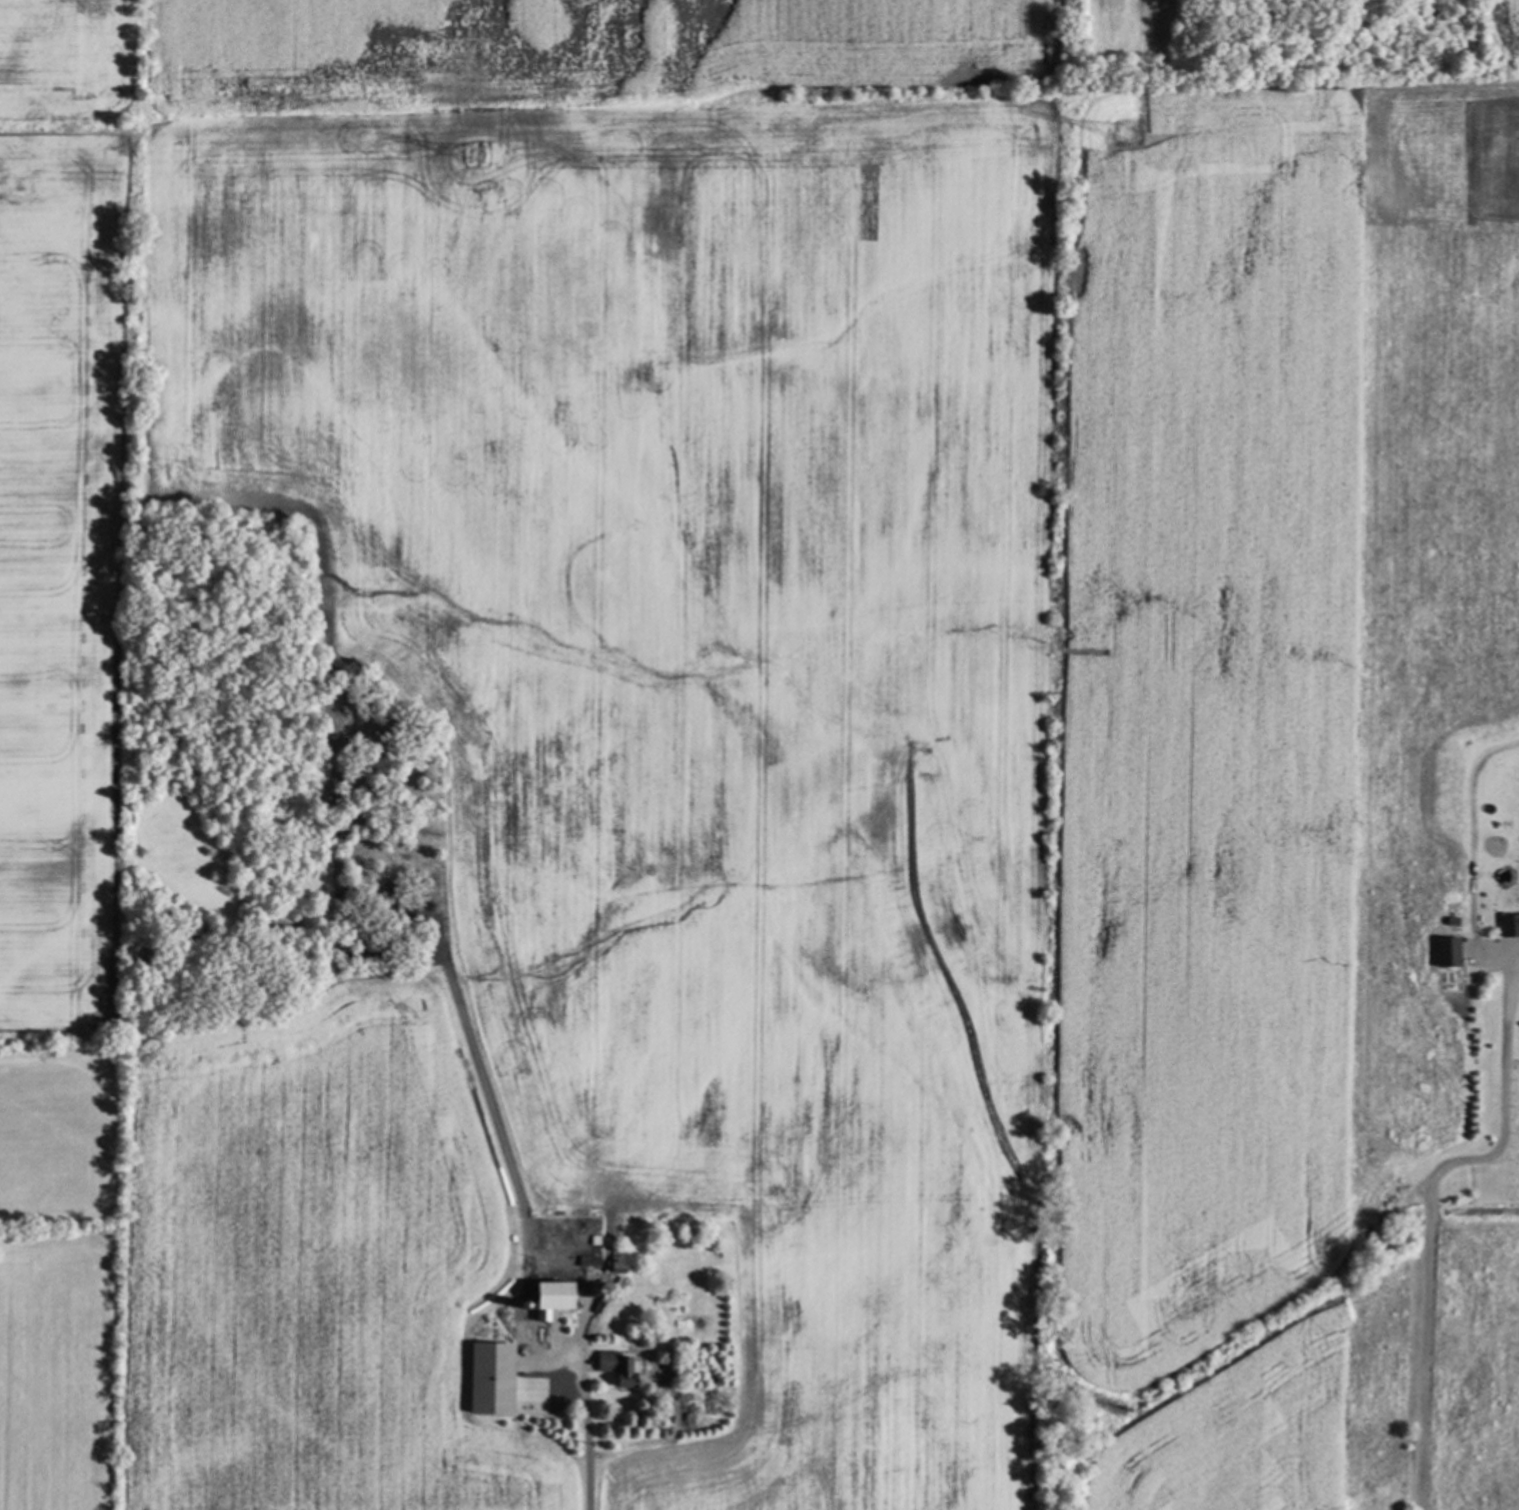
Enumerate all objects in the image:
power tower: (1120, 142)
power tower: (467, 165)
crop: (678, 754)
building: (1508, 922)
building: (1445, 950)
road: (1426, 1205)
building: (586, 1260)
building: (616, 1262)
building: (545, 1296)
building: (612, 1366)
building: (485, 1377)
road: (586, 1425)

